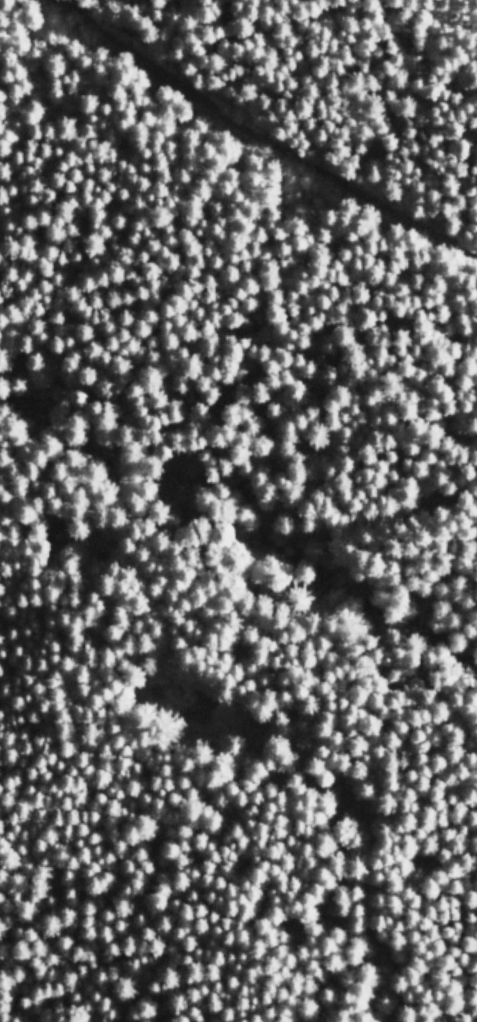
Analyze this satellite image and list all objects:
road: (261, 135)

